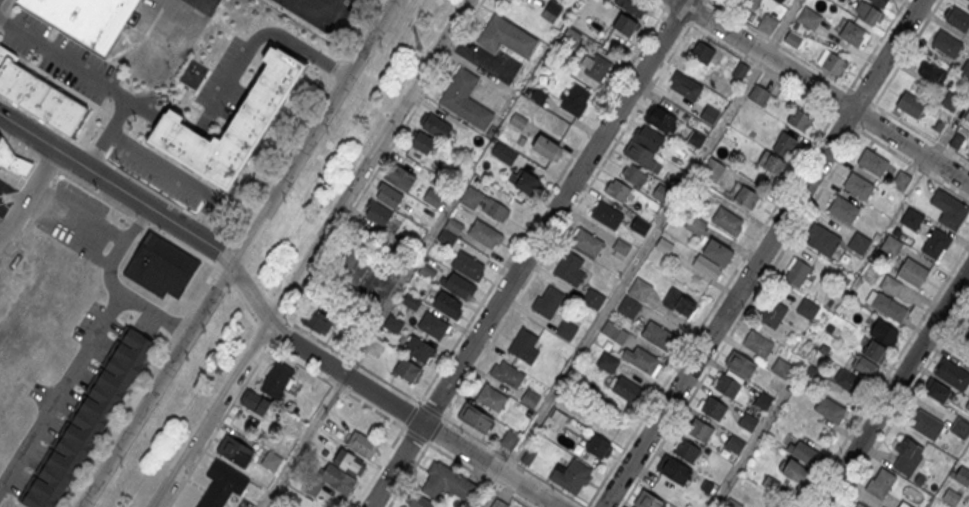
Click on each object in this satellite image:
building: (779, 0)
building: (968, 0)
building: (880, 3)
building: (749, 4)
building: (632, 7)
building: (867, 14)
building: (808, 16)
road: (314, 17)
building: (546, 17)
building: (958, 17)
building: (86, 18)
parking lot: (173, 21)
building: (767, 21)
building: (624, 26)
road: (782, 26)
building: (853, 31)
road: (263, 34)
building: (505, 34)
building: (792, 39)
building: (946, 41)
road: (778, 43)
road: (876, 44)
power tower: (417, 45)
building: (701, 53)
building: (833, 64)
road: (898, 64)
building: (595, 66)
building: (964, 68)
building: (739, 71)
building: (932, 73)
road: (773, 75)
road: (96, 81)
building: (685, 87)
road: (824, 90)
building: (38, 95)
building: (758, 95)
building: (465, 97)
building: (575, 98)
building: (949, 100)
building: (910, 104)
building: (967, 114)
building: (661, 118)
building: (800, 120)
building: (436, 124)
building: (231, 125)
road: (909, 125)
building: (422, 140)
building: (785, 144)
building: (644, 145)
building: (546, 147)
building: (504, 153)
building: (12, 159)
building: (872, 160)
building: (771, 163)
road: (913, 163)
building: (711, 167)
road: (177, 174)
building: (399, 174)
building: (634, 175)
building: (524, 180)
building: (903, 182)
building: (858, 183)
building: (617, 190)
building: (388, 195)
building: (747, 195)
road: (33, 197)
building: (433, 198)
road: (543, 200)
building: (493, 206)
road: (574, 207)
building: (843, 207)
building: (948, 207)
building: (377, 212)
building: (606, 213)
road: (82, 215)
building: (911, 216)
building: (727, 218)
building: (640, 223)
building: (450, 231)
building: (485, 231)
road: (70, 234)
building: (822, 237)
building: (586, 239)
building: (936, 240)
building: (859, 241)
building: (891, 243)
building: (620, 247)
building: (717, 250)
road: (238, 253)
road: (310, 253)
road: (528, 253)
road: (762, 253)
building: (468, 263)
building: (355, 264)
building: (161, 266)
building: (569, 267)
building: (912, 270)
building: (797, 273)
road: (625, 280)
building: (458, 283)
building: (890, 283)
road: (112, 285)
building: (639, 287)
building: (592, 296)
road: (717, 297)
building: (547, 300)
building: (679, 300)
building: (447, 303)
building: (887, 303)
building: (628, 305)
building: (807, 306)
building: (772, 310)
building: (968, 318)
building: (320, 322)
building: (432, 323)
road: (264, 324)
building: (566, 328)
building: (614, 330)
building: (884, 331)
building: (657, 332)
building: (964, 334)
building: (758, 341)
building: (524, 344)
building: (419, 350)
road: (358, 352)
building: (640, 357)
building: (871, 358)
building: (741, 362)
building: (607, 363)
building: (406, 367)
building: (782, 368)
power tower: (217, 369)
building: (506, 372)
building: (952, 372)
building: (812, 374)
road: (886, 374)
building: (276, 381)
building: (728, 381)
building: (848, 381)
road: (894, 388)
building: (629, 391)
building: (937, 391)
road: (61, 392)
building: (492, 395)
building: (530, 398)
building: (763, 398)
road: (903, 403)
building: (255, 404)
building: (713, 406)
building: (830, 409)
building: (476, 415)
building: (87, 419)
building: (748, 420)
building: (926, 425)
building: (700, 428)
building: (509, 440)
building: (361, 442)
building: (734, 444)
road: (490, 445)
road: (752, 445)
building: (598, 448)
building: (235, 449)
building: (687, 449)
building: (802, 450)
building: (907, 455)
building: (271, 462)
building: (674, 469)
building: (794, 470)
building: (962, 473)
building: (571, 474)
building: (335, 475)
building: (447, 481)
building: (880, 482)
building: (221, 484)
building: (951, 495)
building: (646, 499)
building: (417, 500)
building: (308, 504)
building: (500, 504)
building: (771, 504)
building: (904, 504)
building: (859, 505)
building: (400, 506)

